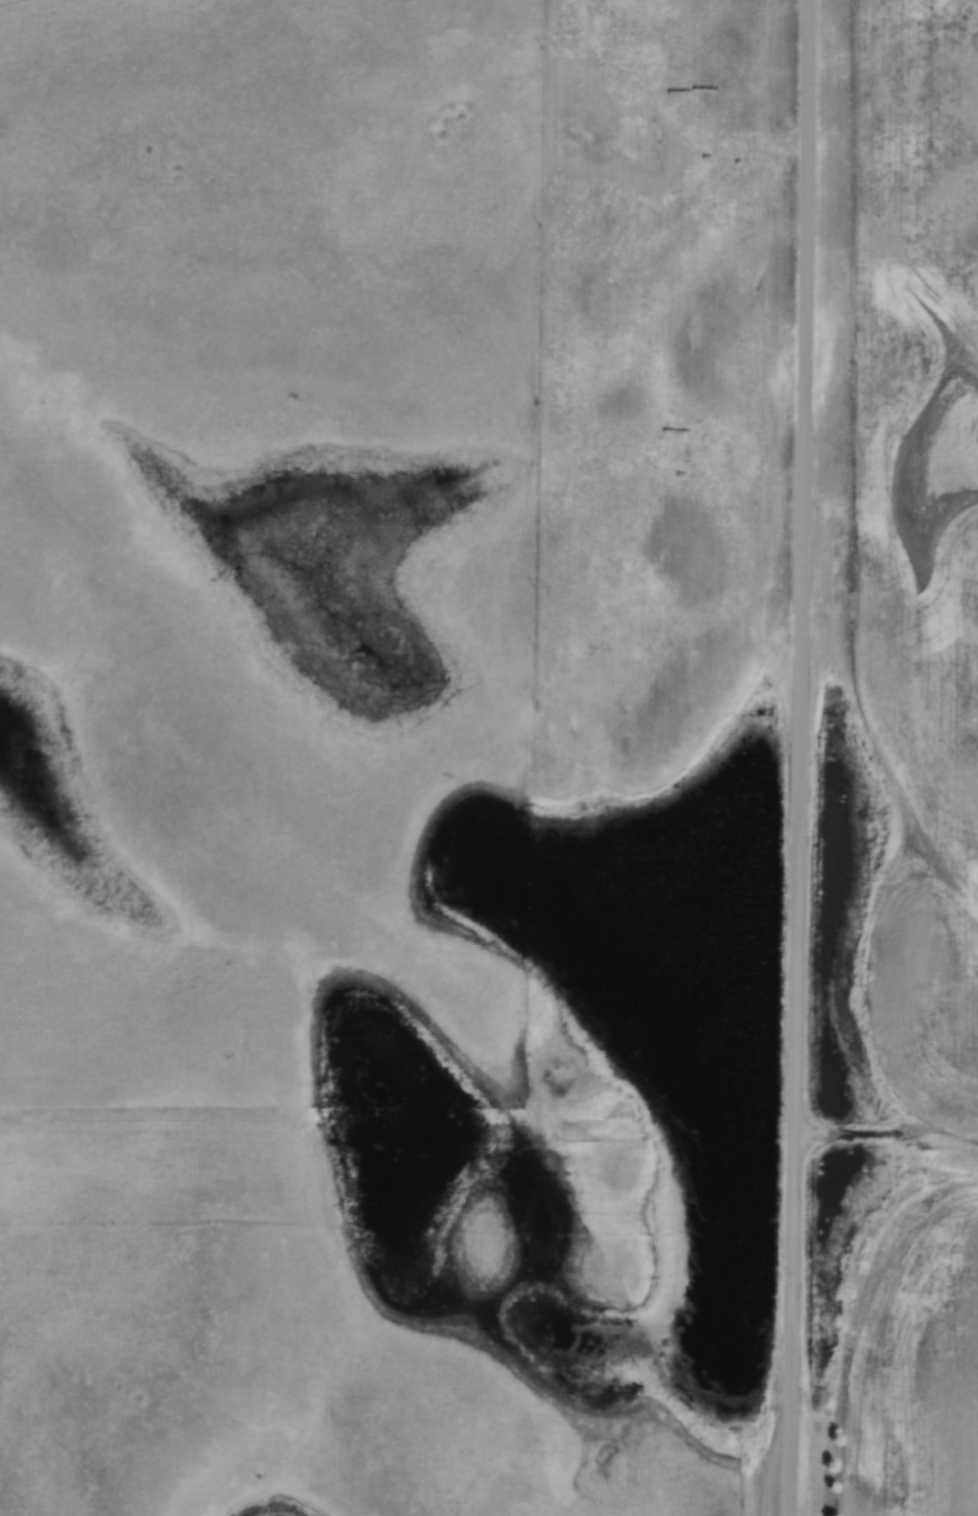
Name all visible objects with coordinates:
road: (800, 757)
road: (887, 1130)

